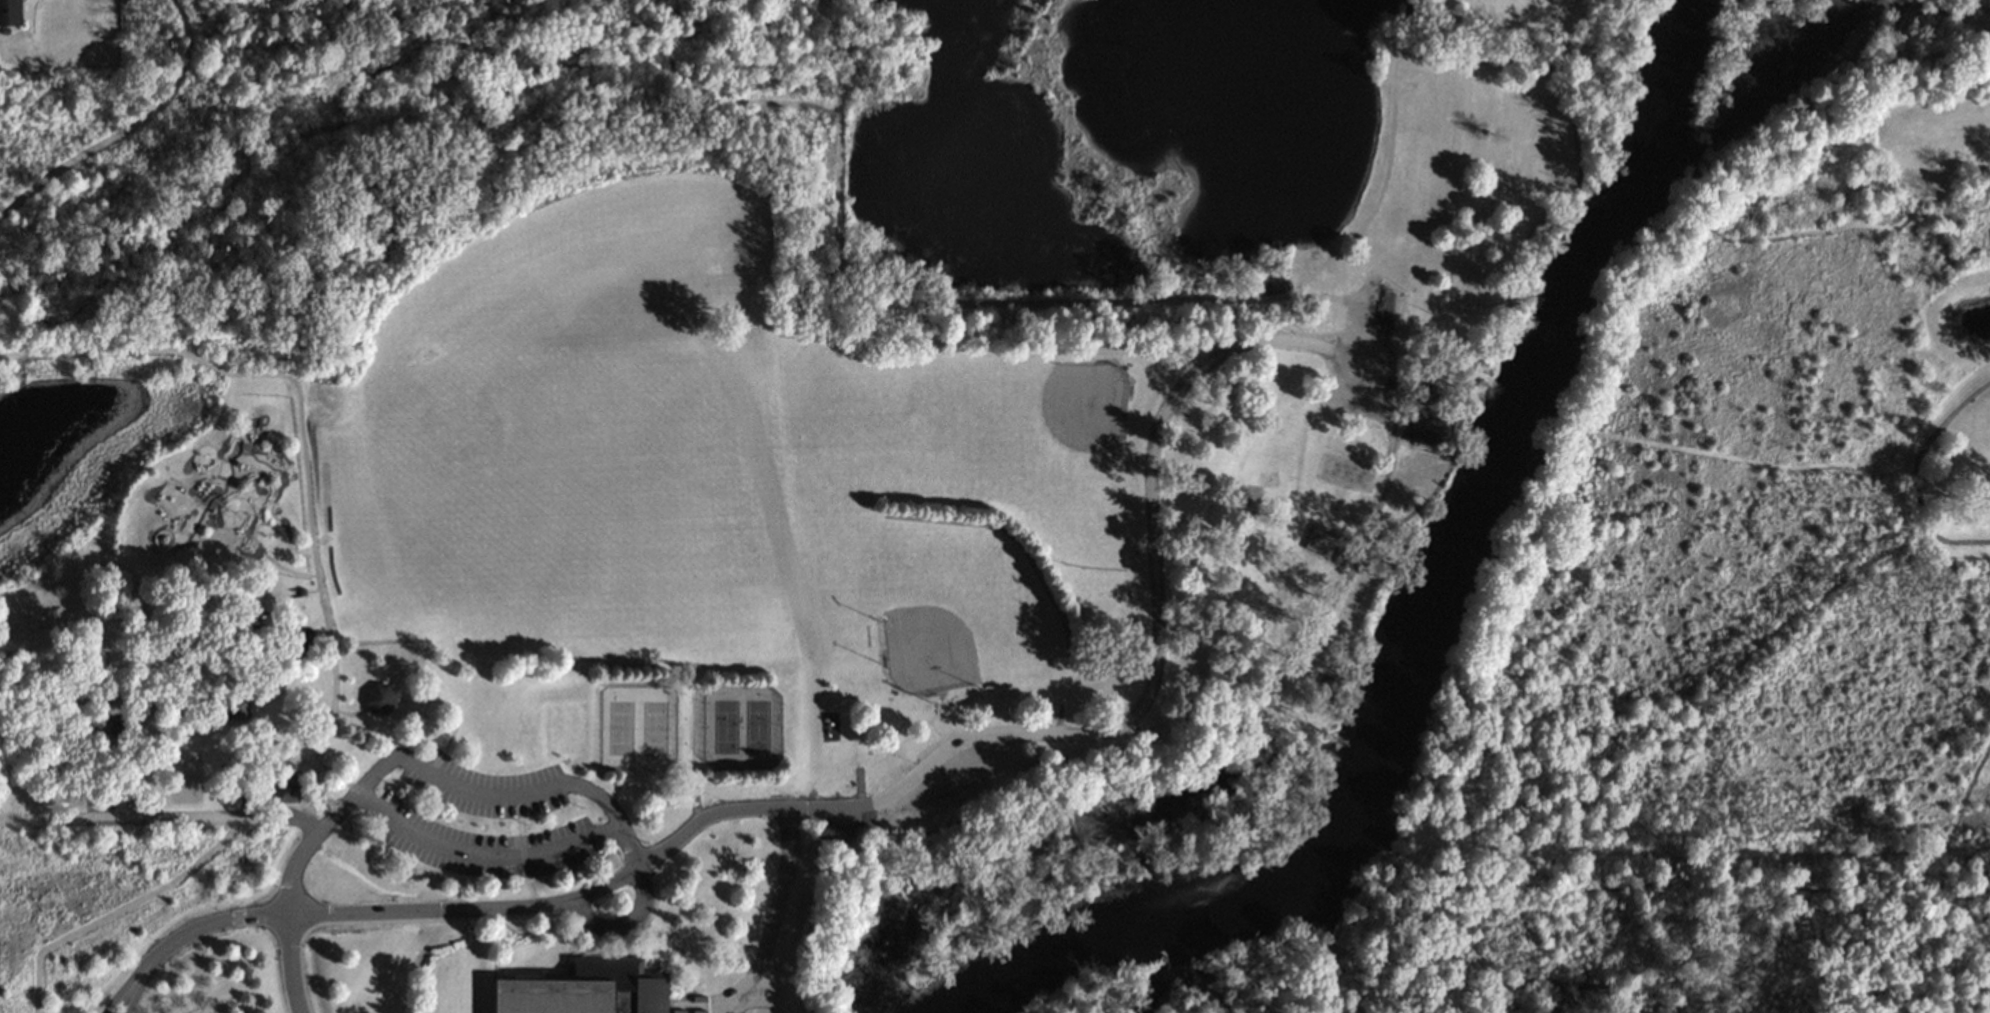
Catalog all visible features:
building: (9, 12)
road: (126, 128)
road: (1310, 274)
road: (1332, 352)
road: (225, 422)
road: (258, 423)
building: (1426, 429)
road: (300, 449)
park: (1048, 452)
road: (259, 471)
park: (716, 472)
road: (1909, 475)
road: (1383, 478)
road: (223, 481)
road: (253, 482)
road: (275, 495)
road: (216, 510)
road: (147, 532)
road: (157, 533)
building: (1321, 542)
road: (170, 544)
road: (255, 553)
park: (959, 603)
river: (1430, 619)
building: (380, 700)
park: (724, 726)
park: (755, 727)
park: (619, 728)
park: (653, 728)
road: (905, 783)
parking lot: (485, 788)
building: (285, 789)
road: (486, 795)
road: (612, 815)
road: (193, 818)
road: (326, 818)
building: (833, 833)
parking lot: (484, 845)
road: (1623, 871)
road: (118, 910)
road: (772, 942)
road: (1405, 963)
road: (146, 965)
road: (291, 965)
road: (1341, 975)
road: (793, 984)
road: (776, 986)
building: (587, 991)
road: (1344, 1010)

